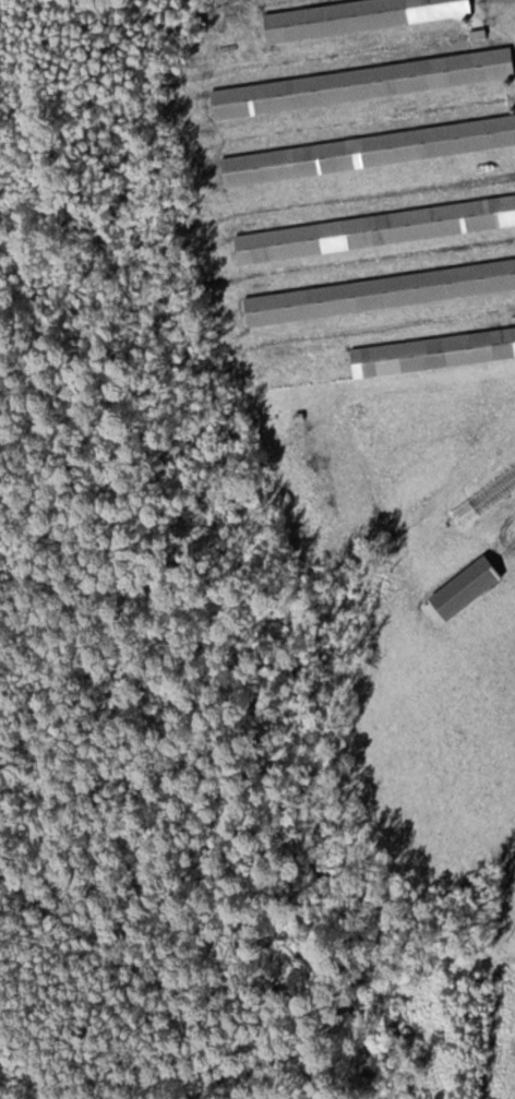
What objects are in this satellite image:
building: (359, 16)
building: (364, 83)
building: (369, 151)
building: (376, 228)
building: (381, 291)
building: (433, 351)
building: (468, 586)

